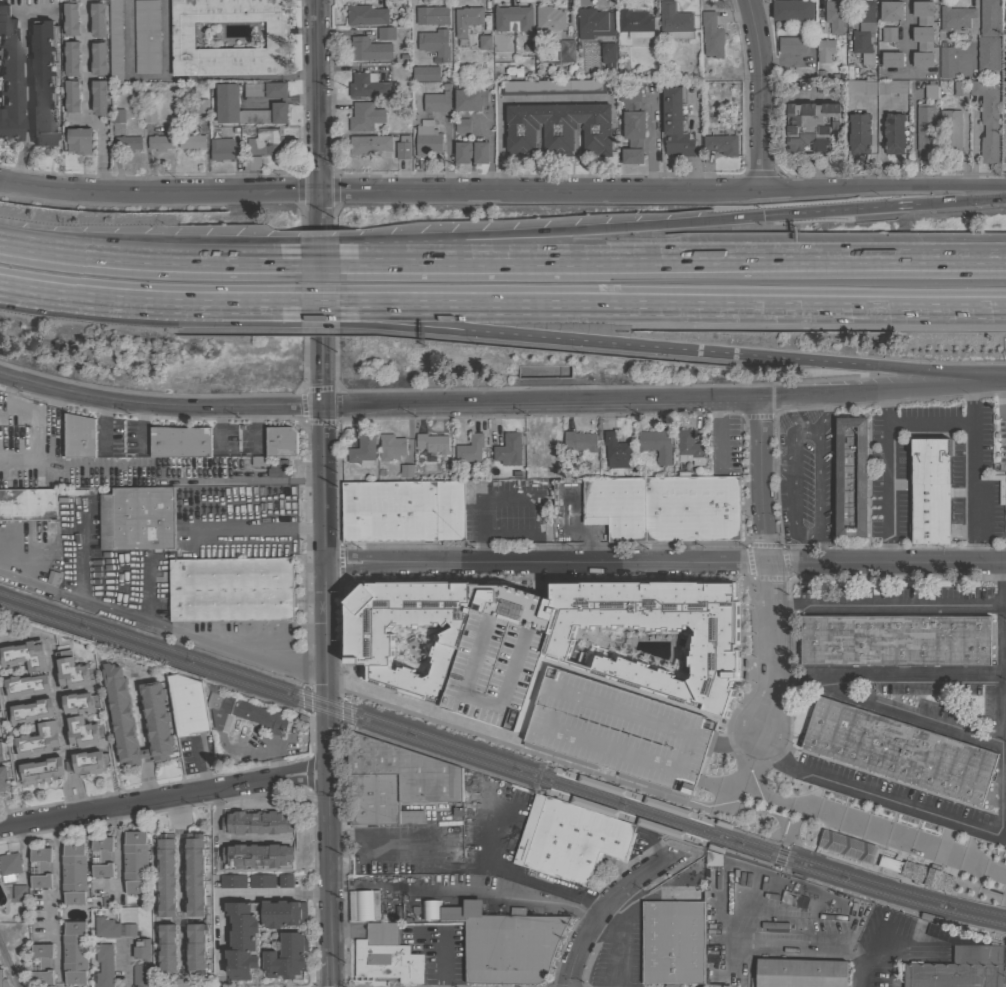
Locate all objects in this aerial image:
building: (1005, 1)
building: (792, 10)
building: (891, 11)
building: (431, 15)
building: (366, 16)
building: (834, 16)
building: (513, 17)
building: (955, 17)
building: (70, 18)
building: (989, 18)
building: (467, 19)
building: (98, 20)
building: (549, 22)
building: (674, 22)
building: (594, 23)
building: (635, 23)
road: (412, 27)
building: (864, 29)
building: (386, 33)
building: (888, 34)
building: (922, 34)
building: (711, 35)
building: (146, 36)
building: (115, 41)
building: (277, 41)
building: (484, 42)
building: (434, 43)
building: (497, 43)
building: (791, 44)
building: (521, 47)
building: (369, 49)
building: (826, 51)
building: (608, 52)
building: (987, 53)
building: (566, 54)
building: (71, 57)
building: (98, 57)
building: (891, 59)
building: (946, 62)
building: (425, 73)
building: (9, 76)
road: (186, 78)
building: (43, 82)
building: (363, 85)
building: (877, 87)
building: (960, 88)
building: (930, 91)
road: (759, 93)
building: (71, 95)
road: (25, 97)
building: (99, 97)
road: (508, 98)
building: (470, 100)
road: (86, 101)
building: (436, 102)
building: (416, 104)
building: (201, 106)
building: (227, 107)
road: (316, 113)
building: (149, 115)
building: (118, 116)
building: (364, 117)
building: (987, 120)
building: (675, 123)
building: (462, 125)
building: (632, 125)
building: (810, 125)
building: (558, 128)
building: (924, 129)
building: (950, 132)
building: (859, 133)
building: (893, 133)
building: (426, 138)
building: (190, 139)
building: (79, 140)
building: (162, 140)
building: (265, 142)
road: (650, 142)
building: (128, 143)
building: (370, 144)
building: (721, 144)
building: (403, 147)
building: (222, 149)
building: (471, 152)
building: (250, 164)
road: (381, 189)
road: (885, 189)
road: (962, 199)
road: (840, 209)
traffic signals: (761, 215)
road: (549, 230)
road: (318, 241)
road: (268, 251)
road: (118, 255)
road: (671, 258)
road: (267, 260)
road: (317, 260)
road: (118, 297)
road: (319, 298)
road: (268, 299)
road: (672, 299)
road: (269, 305)
road: (319, 312)
road: (602, 343)
road: (936, 371)
road: (884, 394)
road: (543, 408)
road: (159, 412)
road: (822, 417)
road: (929, 422)
road: (324, 432)
road: (803, 432)
building: (79, 436)
road: (715, 437)
parking lot: (121, 438)
parking lot: (238, 440)
building: (180, 441)
building: (281, 441)
building: (580, 441)
building: (432, 443)
building: (656, 444)
building: (391, 447)
building: (690, 447)
building: (470, 449)
building: (363, 450)
building: (509, 450)
building: (543, 450)
building: (616, 451)
parking lot: (81, 461)
building: (259, 461)
building: (183, 465)
road: (774, 466)
building: (278, 468)
building: (406, 471)
road: (971, 473)
building: (859, 478)
road: (887, 478)
road: (216, 482)
road: (306, 482)
building: (930, 491)
building: (27, 504)
building: (653, 506)
building: (402, 511)
parking lot: (507, 512)
building: (272, 516)
building: (137, 518)
building: (190, 530)
road: (306, 530)
road: (326, 546)
road: (802, 551)
road: (479, 553)
road: (666, 563)
road: (767, 568)
road: (430, 577)
road: (40, 587)
building: (231, 589)
road: (785, 591)
road: (308, 603)
road: (887, 603)
road: (156, 625)
building: (5, 628)
building: (894, 640)
building: (530, 643)
building: (407, 649)
building: (628, 650)
building: (70, 669)
building: (37, 670)
road: (887, 675)
road: (57, 702)
building: (187, 704)
building: (155, 714)
building: (244, 714)
road: (904, 715)
building: (81, 719)
building: (0, 730)
building: (47, 730)
building: (618, 731)
parking garage: (618, 731)
building: (898, 750)
building: (1, 752)
railway: (501, 759)
building: (90, 762)
road: (558, 766)
railway: (501, 768)
building: (39, 771)
road: (328, 775)
building: (3, 778)
building: (394, 781)
railway: (546, 793)
road: (163, 798)
building: (257, 821)
road: (865, 823)
railway: (710, 825)
building: (912, 837)
building: (569, 839)
road: (1003, 839)
road: (767, 843)
building: (848, 844)
road: (117, 847)
road: (642, 853)
building: (258, 855)
building: (101, 856)
building: (713, 858)
building: (135, 862)
building: (9, 866)
building: (40, 867)
building: (74, 873)
building: (166, 874)
building: (195, 874)
building: (917, 874)
road: (56, 876)
road: (512, 877)
building: (285, 880)
building: (233, 881)
building: (262, 881)
building: (19, 891)
road: (181, 891)
road: (637, 891)
road: (230, 894)
road: (589, 900)
road: (610, 904)
building: (362, 906)
building: (460, 911)
building: (283, 914)
building: (106, 927)
building: (130, 929)
building: (926, 930)
building: (673, 938)
building: (242, 940)
building: (509, 948)
building: (141, 949)
building: (196, 949)
building: (167, 950)
building: (75, 952)
building: (287, 956)
building: (385, 956)
road: (441, 958)
building: (41, 964)
building: (104, 965)
building: (957, 969)
building: (800, 973)
building: (141, 975)
building: (3, 980)

